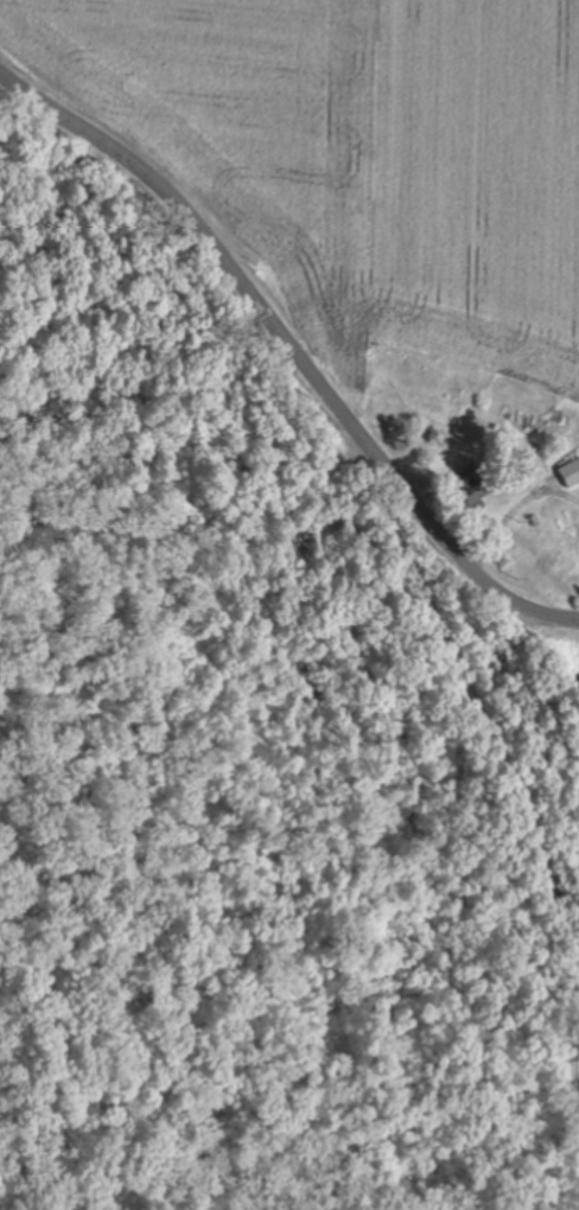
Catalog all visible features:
road: (293, 348)
road: (517, 796)

